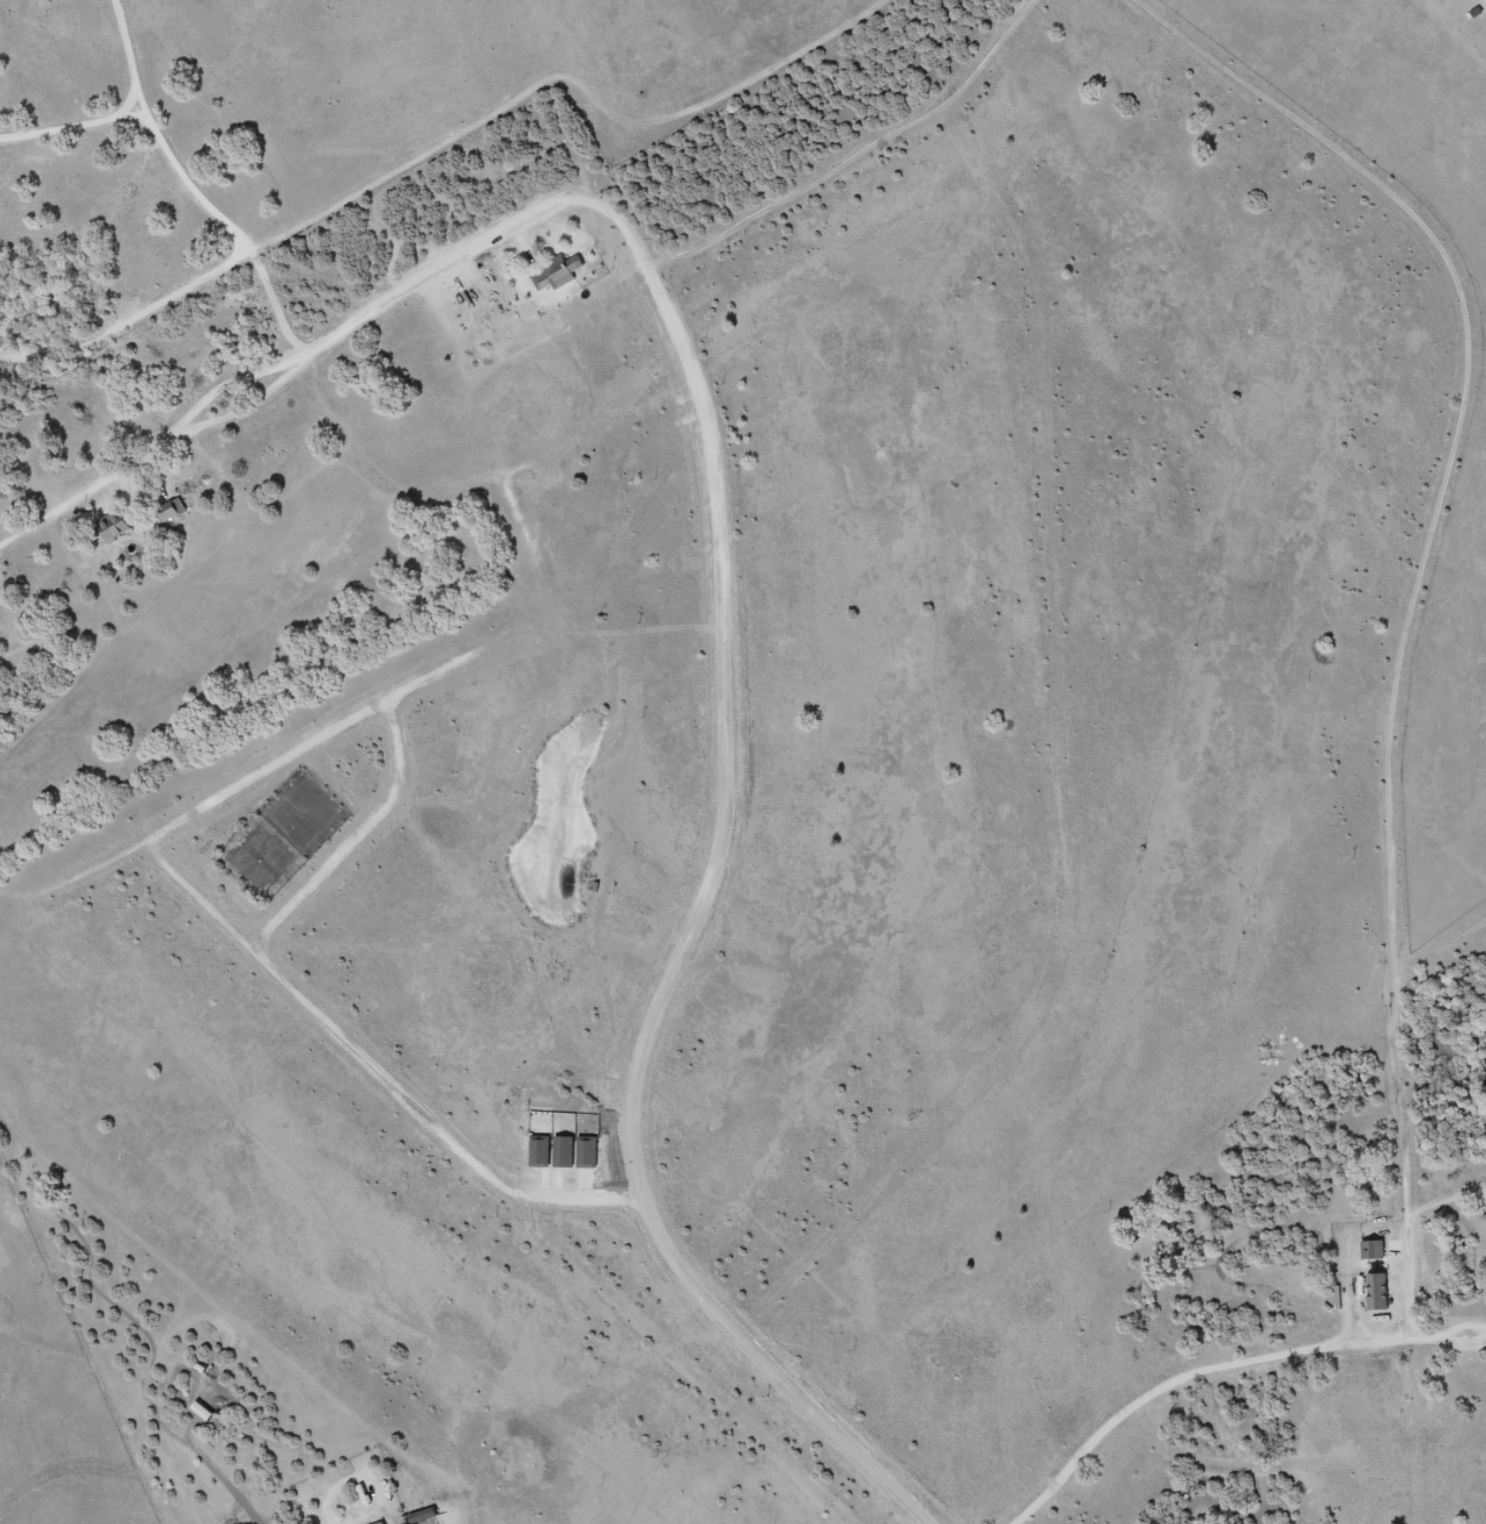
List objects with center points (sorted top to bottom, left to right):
road: (1132, 4)
road: (868, 163)
road: (203, 200)
road: (662, 261)
building: (558, 274)
road: (279, 313)
road: (340, 329)
building: (171, 513)
building: (117, 526)
road: (1423, 600)
road: (306, 750)
road: (356, 839)
road: (677, 970)
road: (370, 1068)
building: (1375, 1251)
building: (1380, 1293)
road: (1235, 1374)

